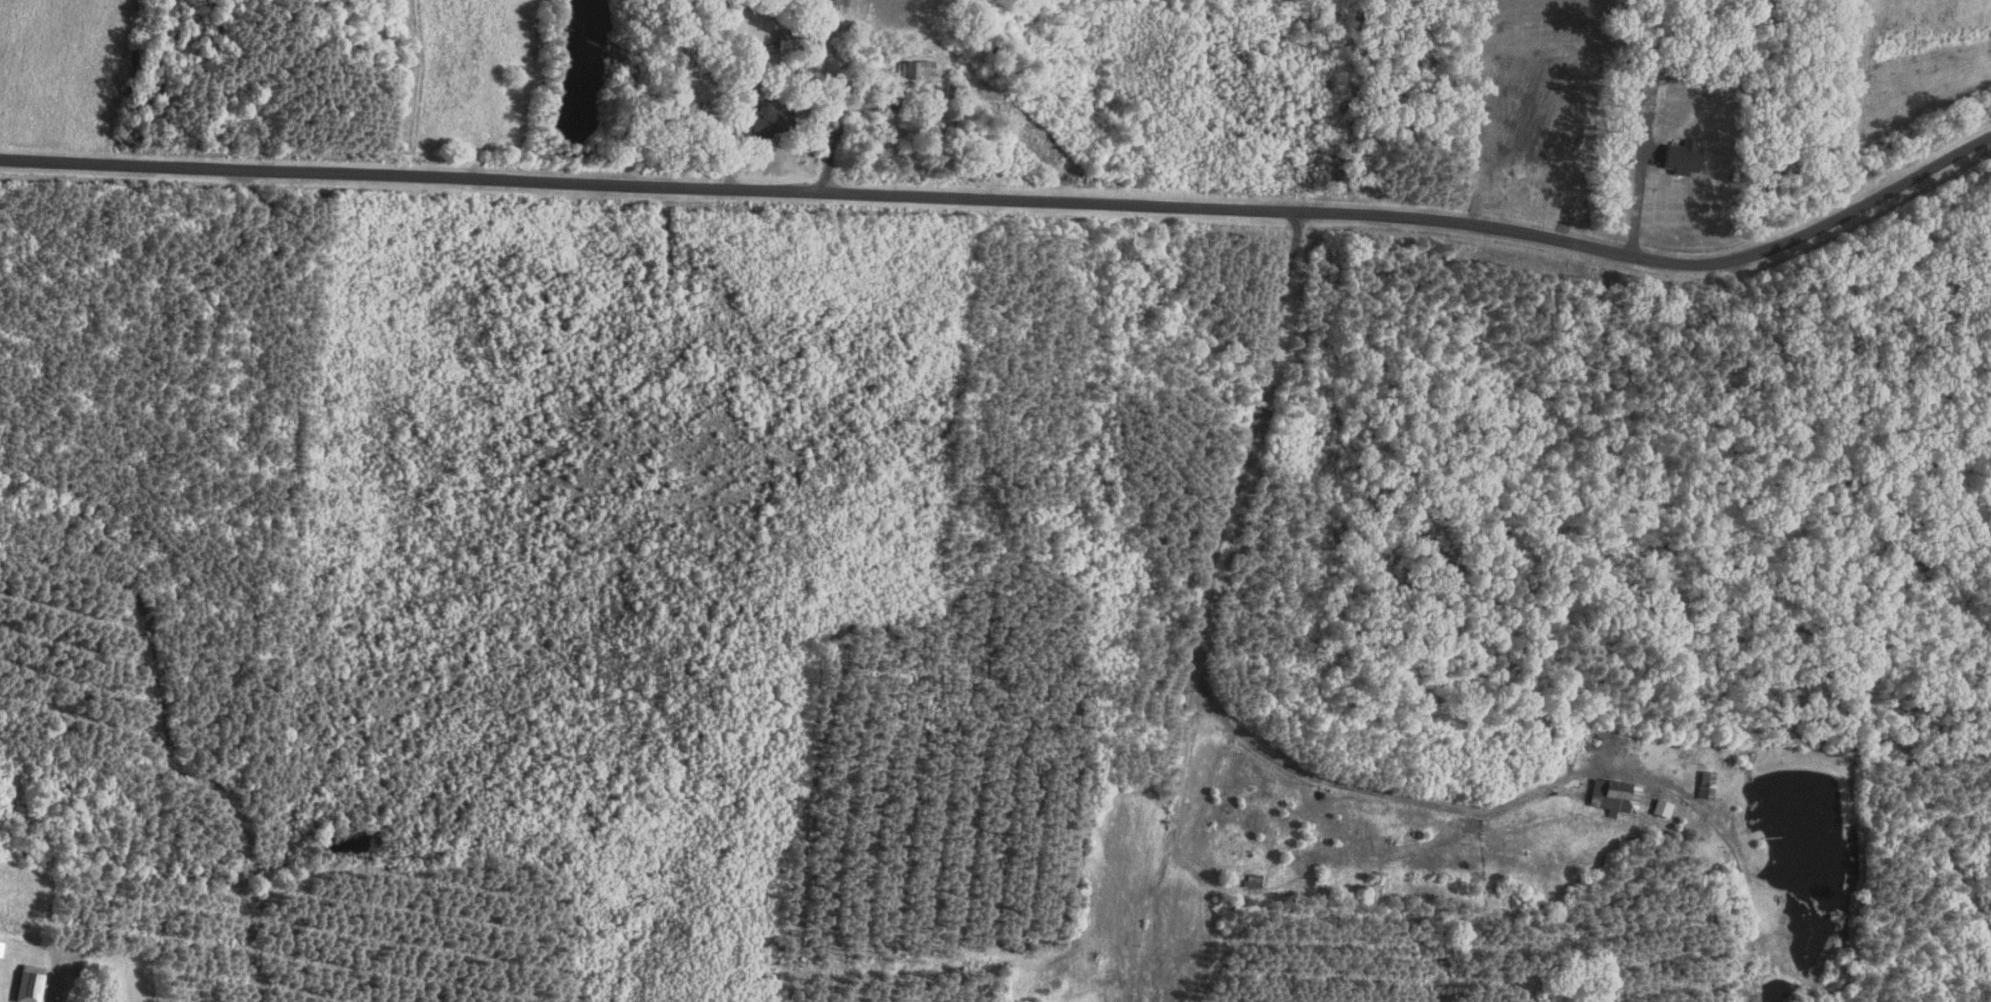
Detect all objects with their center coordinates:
road: (1012, 200)
road: (1203, 674)
road: (1178, 795)
building: (1617, 796)
building: (1664, 807)
building: (2, 948)
building: (32, 986)

